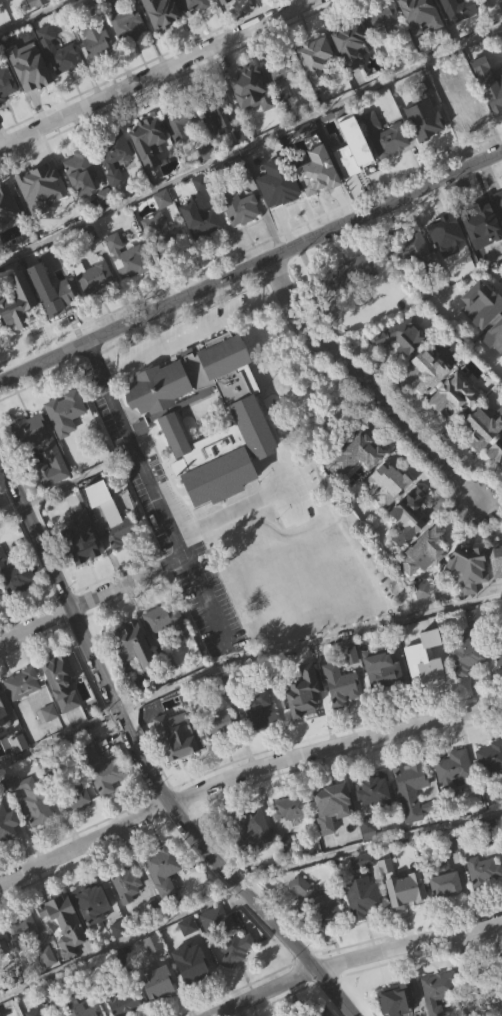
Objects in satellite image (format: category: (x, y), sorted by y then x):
building: (292, 2)
building: (38, 3)
building: (449, 4)
building: (194, 5)
building: (261, 5)
building: (16, 7)
building: (416, 8)
building: (486, 10)
building: (226, 12)
building: (162, 13)
road: (35, 16)
building: (384, 18)
building: (451, 21)
building: (124, 23)
building: (190, 23)
building: (38, 27)
building: (161, 37)
building: (94, 40)
building: (421, 42)
building: (352, 44)
building: (384, 48)
building: (57, 51)
building: (128, 53)
building: (317, 61)
building: (460, 66)
building: (281, 67)
building: (98, 72)
building: (36, 73)
road: (155, 73)
building: (353, 76)
building: (59, 81)
building: (6, 84)
building: (424, 84)
building: (252, 88)
building: (317, 90)
building: (493, 91)
building: (31, 96)
building: (281, 99)
building: (460, 104)
building: (214, 107)
building: (7, 113)
building: (251, 118)
building: (495, 121)
building: (179, 122)
building: (426, 125)
building: (464, 136)
building: (385, 137)
building: (149, 141)
building: (218, 144)
road: (250, 146)
building: (427, 149)
building: (183, 150)
building: (351, 155)
building: (114, 156)
building: (79, 166)
building: (390, 168)
building: (150, 170)
building: (316, 173)
building: (208, 181)
building: (35, 184)
building: (114, 187)
building: (318, 200)
building: (82, 202)
building: (498, 202)
building: (240, 208)
building: (278, 213)
building: (43, 217)
building: (477, 218)
building: (104, 219)
building: (201, 222)
building: (498, 230)
building: (8, 236)
building: (161, 236)
building: (446, 236)
building: (241, 238)
building: (479, 250)
building: (202, 251)
building: (412, 254)
building: (126, 258)
building: (164, 261)
building: (446, 265)
road: (251, 266)
building: (348, 275)
building: (415, 277)
building: (93, 279)
building: (127, 286)
building: (451, 297)
building: (350, 304)
building: (96, 306)
building: (14, 308)
building: (55, 319)
road: (191, 331)
building: (482, 333)
building: (403, 334)
building: (0, 359)
building: (402, 365)
building: (495, 366)
building: (432, 370)
road: (368, 383)
building: (457, 392)
building: (429, 400)
building: (151, 401)
building: (500, 409)
building: (65, 411)
building: (455, 423)
building: (485, 427)
building: (67, 442)
building: (497, 450)
building: (53, 454)
building: (355, 455)
building: (142, 456)
building: (174, 461)
building: (51, 475)
building: (496, 481)
building: (387, 483)
building: (357, 484)
road: (154, 496)
road: (11, 511)
road: (233, 512)
building: (387, 513)
building: (409, 516)
building: (99, 523)
building: (121, 530)
building: (81, 545)
building: (410, 545)
building: (424, 549)
building: (496, 559)
building: (122, 560)
road: (167, 562)
building: (83, 567)
building: (468, 567)
building: (15, 576)
building: (498, 591)
building: (468, 597)
building: (14, 605)
road: (75, 606)
building: (163, 617)
building: (423, 619)
building: (133, 644)
road: (308, 645)
building: (498, 648)
building: (167, 649)
building: (347, 650)
building: (466, 656)
building: (425, 662)
building: (133, 672)
building: (384, 673)
building: (60, 680)
building: (498, 681)
building: (21, 683)
building: (467, 684)
building: (341, 685)
building: (425, 691)
building: (0, 692)
building: (383, 698)
building: (302, 702)
building: (1, 703)
building: (261, 710)
building: (63, 711)
building: (23, 712)
building: (342, 714)
building: (220, 726)
building: (305, 732)
building: (173, 736)
road: (58, 738)
building: (263, 740)
building: (48, 742)
building: (4, 744)
building: (220, 753)
building: (490, 757)
road: (142, 758)
building: (174, 766)
building: (102, 769)
building: (21, 772)
road: (242, 772)
building: (452, 772)
building: (491, 786)
building: (373, 787)
building: (74, 793)
building: (415, 793)
building: (331, 797)
building: (32, 798)
building: (103, 799)
building: (455, 800)
building: (292, 807)
building: (375, 817)
building: (5, 819)
building: (412, 819)
building: (75, 824)
building: (33, 828)
building: (247, 829)
building: (332, 834)
building: (290, 837)
road: (368, 842)
building: (8, 852)
building: (251, 855)
building: (362, 860)
building: (163, 868)
building: (483, 870)
building: (445, 880)
building: (125, 883)
building: (406, 893)
building: (387, 894)
building: (362, 896)
building: (162, 900)
building: (483, 900)
building: (316, 903)
building: (94, 904)
building: (446, 911)
building: (128, 913)
building: (65, 922)
building: (363, 926)
building: (19, 929)
building: (93, 930)
building: (321, 934)
road: (119, 941)
building: (235, 948)
building: (0, 950)
building: (219, 950)
building: (65, 951)
building: (189, 955)
road: (359, 958)
building: (23, 959)
building: (196, 968)
building: (154, 972)
building: (237, 978)
building: (2, 980)
building: (483, 983)
building: (48, 985)
building: (158, 986)
building: (437, 990)
building: (192, 993)
building: (397, 999)
building: (122, 1002)
building: (80, 1007)
building: (159, 1007)
building: (440, 1009)
building: (308, 1011)
building: (33, 1012)
building: (408, 1013)
building: (134, 1015)

